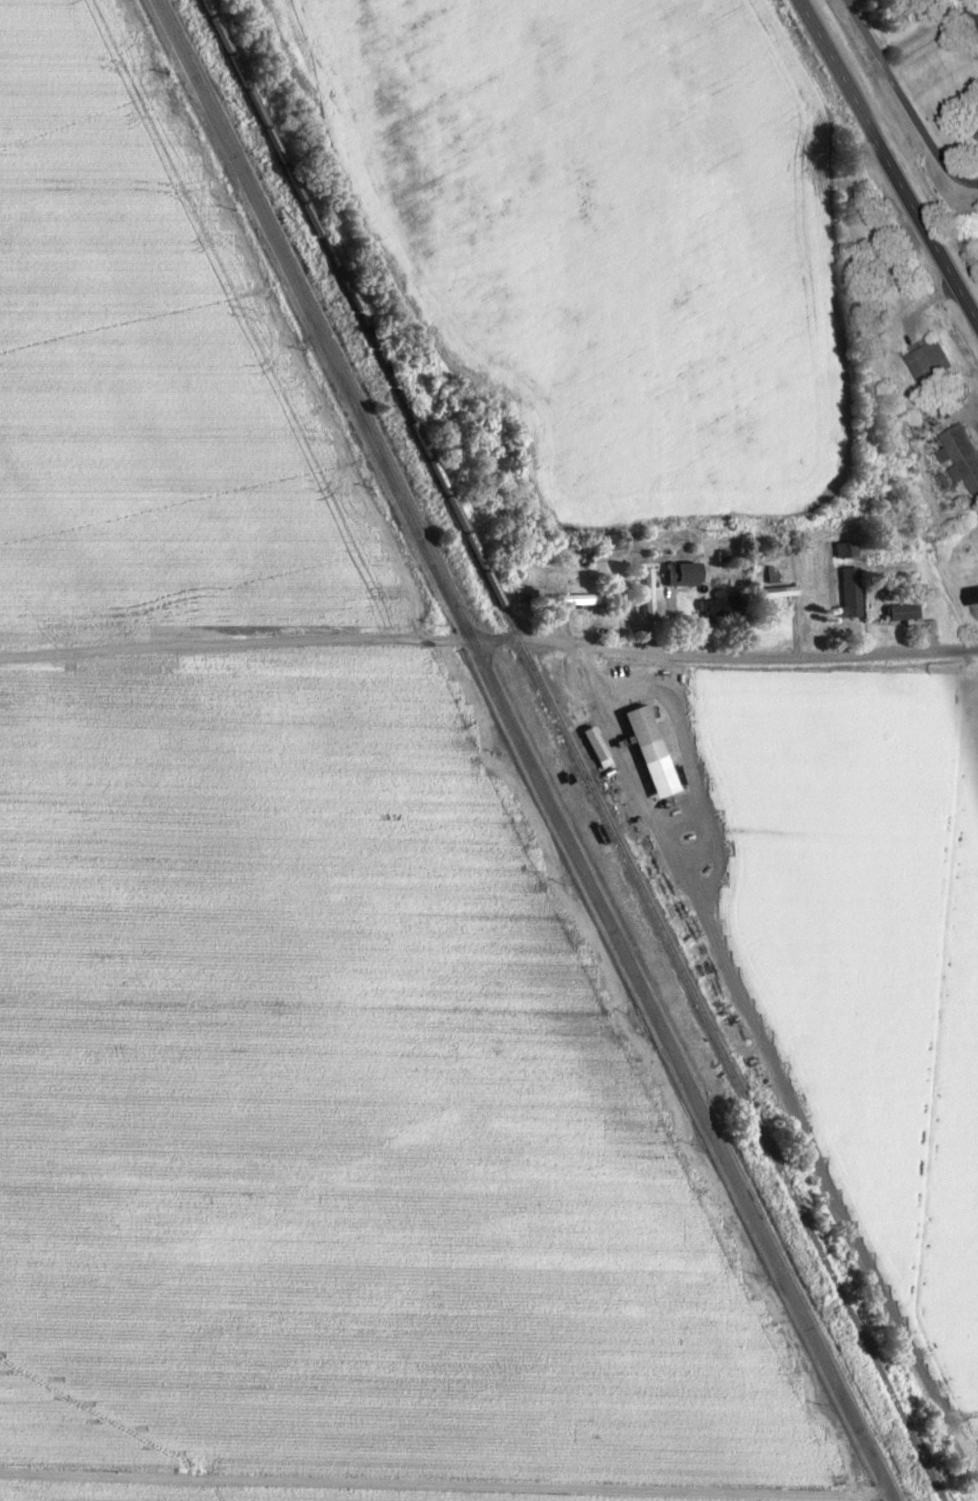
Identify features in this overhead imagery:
road: (889, 86)
building: (976, 137)
road: (886, 163)
road: (961, 177)
building: (926, 363)
building: (959, 458)
building: (843, 550)
building: (675, 574)
building: (770, 592)
building: (847, 592)
building: (642, 593)
building: (968, 595)
building: (568, 600)
building: (711, 607)
building: (899, 612)
building: (925, 629)
road: (231, 645)
road: (720, 656)
building: (635, 734)
building: (589, 747)
road: (516, 750)
railway: (568, 750)
road: (677, 879)
road: (441, 1484)

